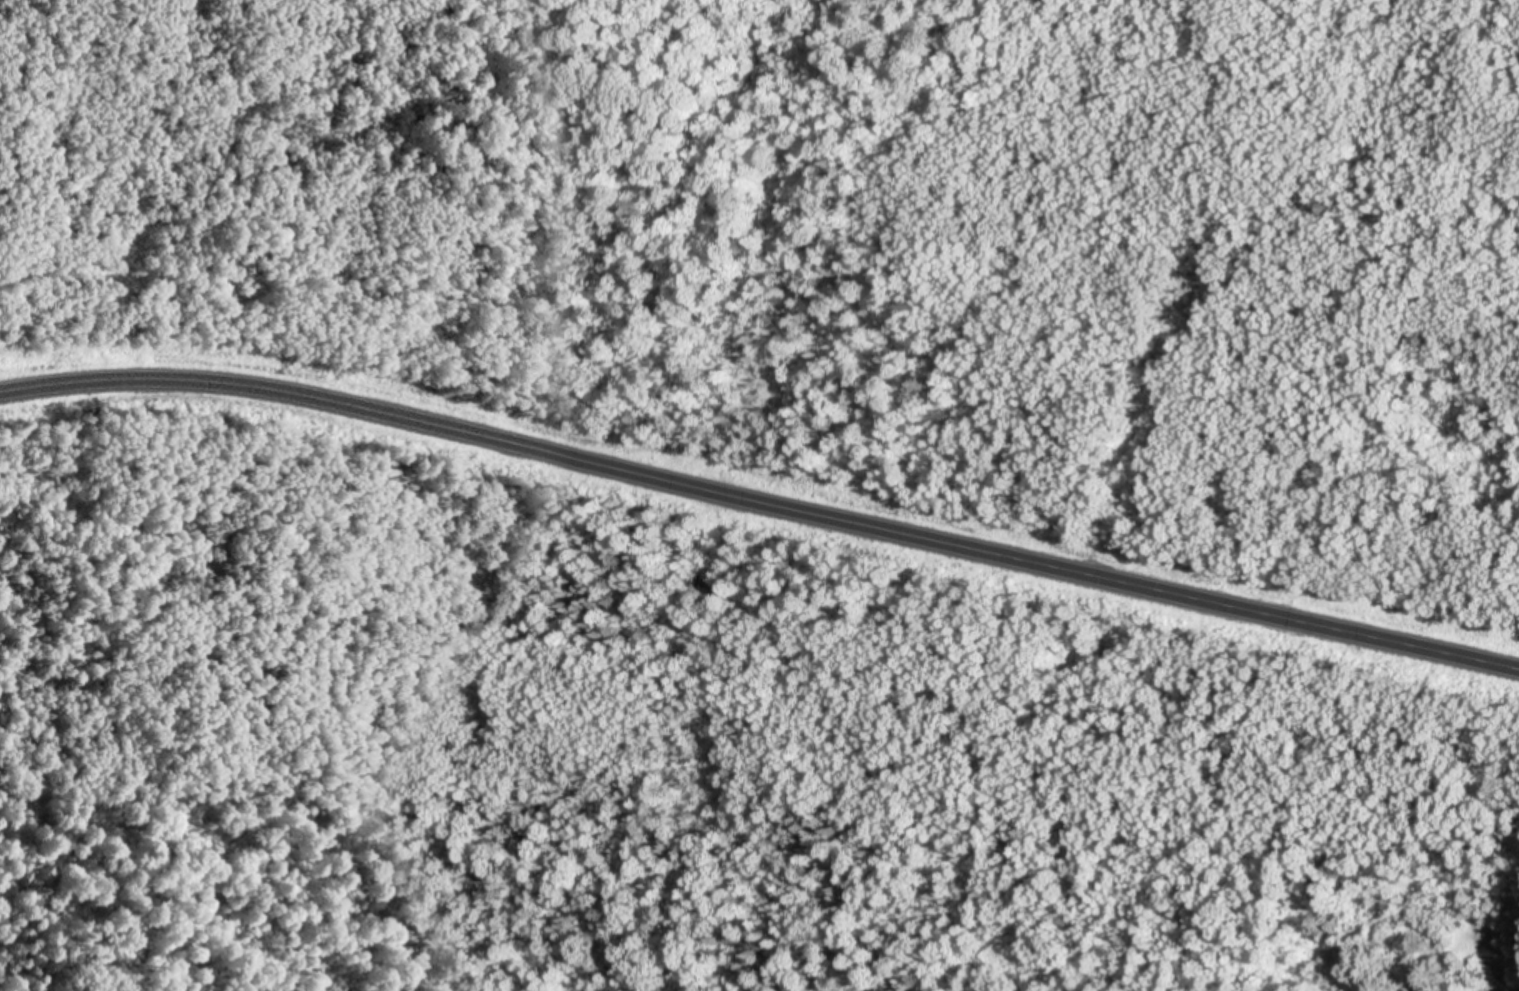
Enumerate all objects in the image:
road: (523, 379)
road: (761, 503)

